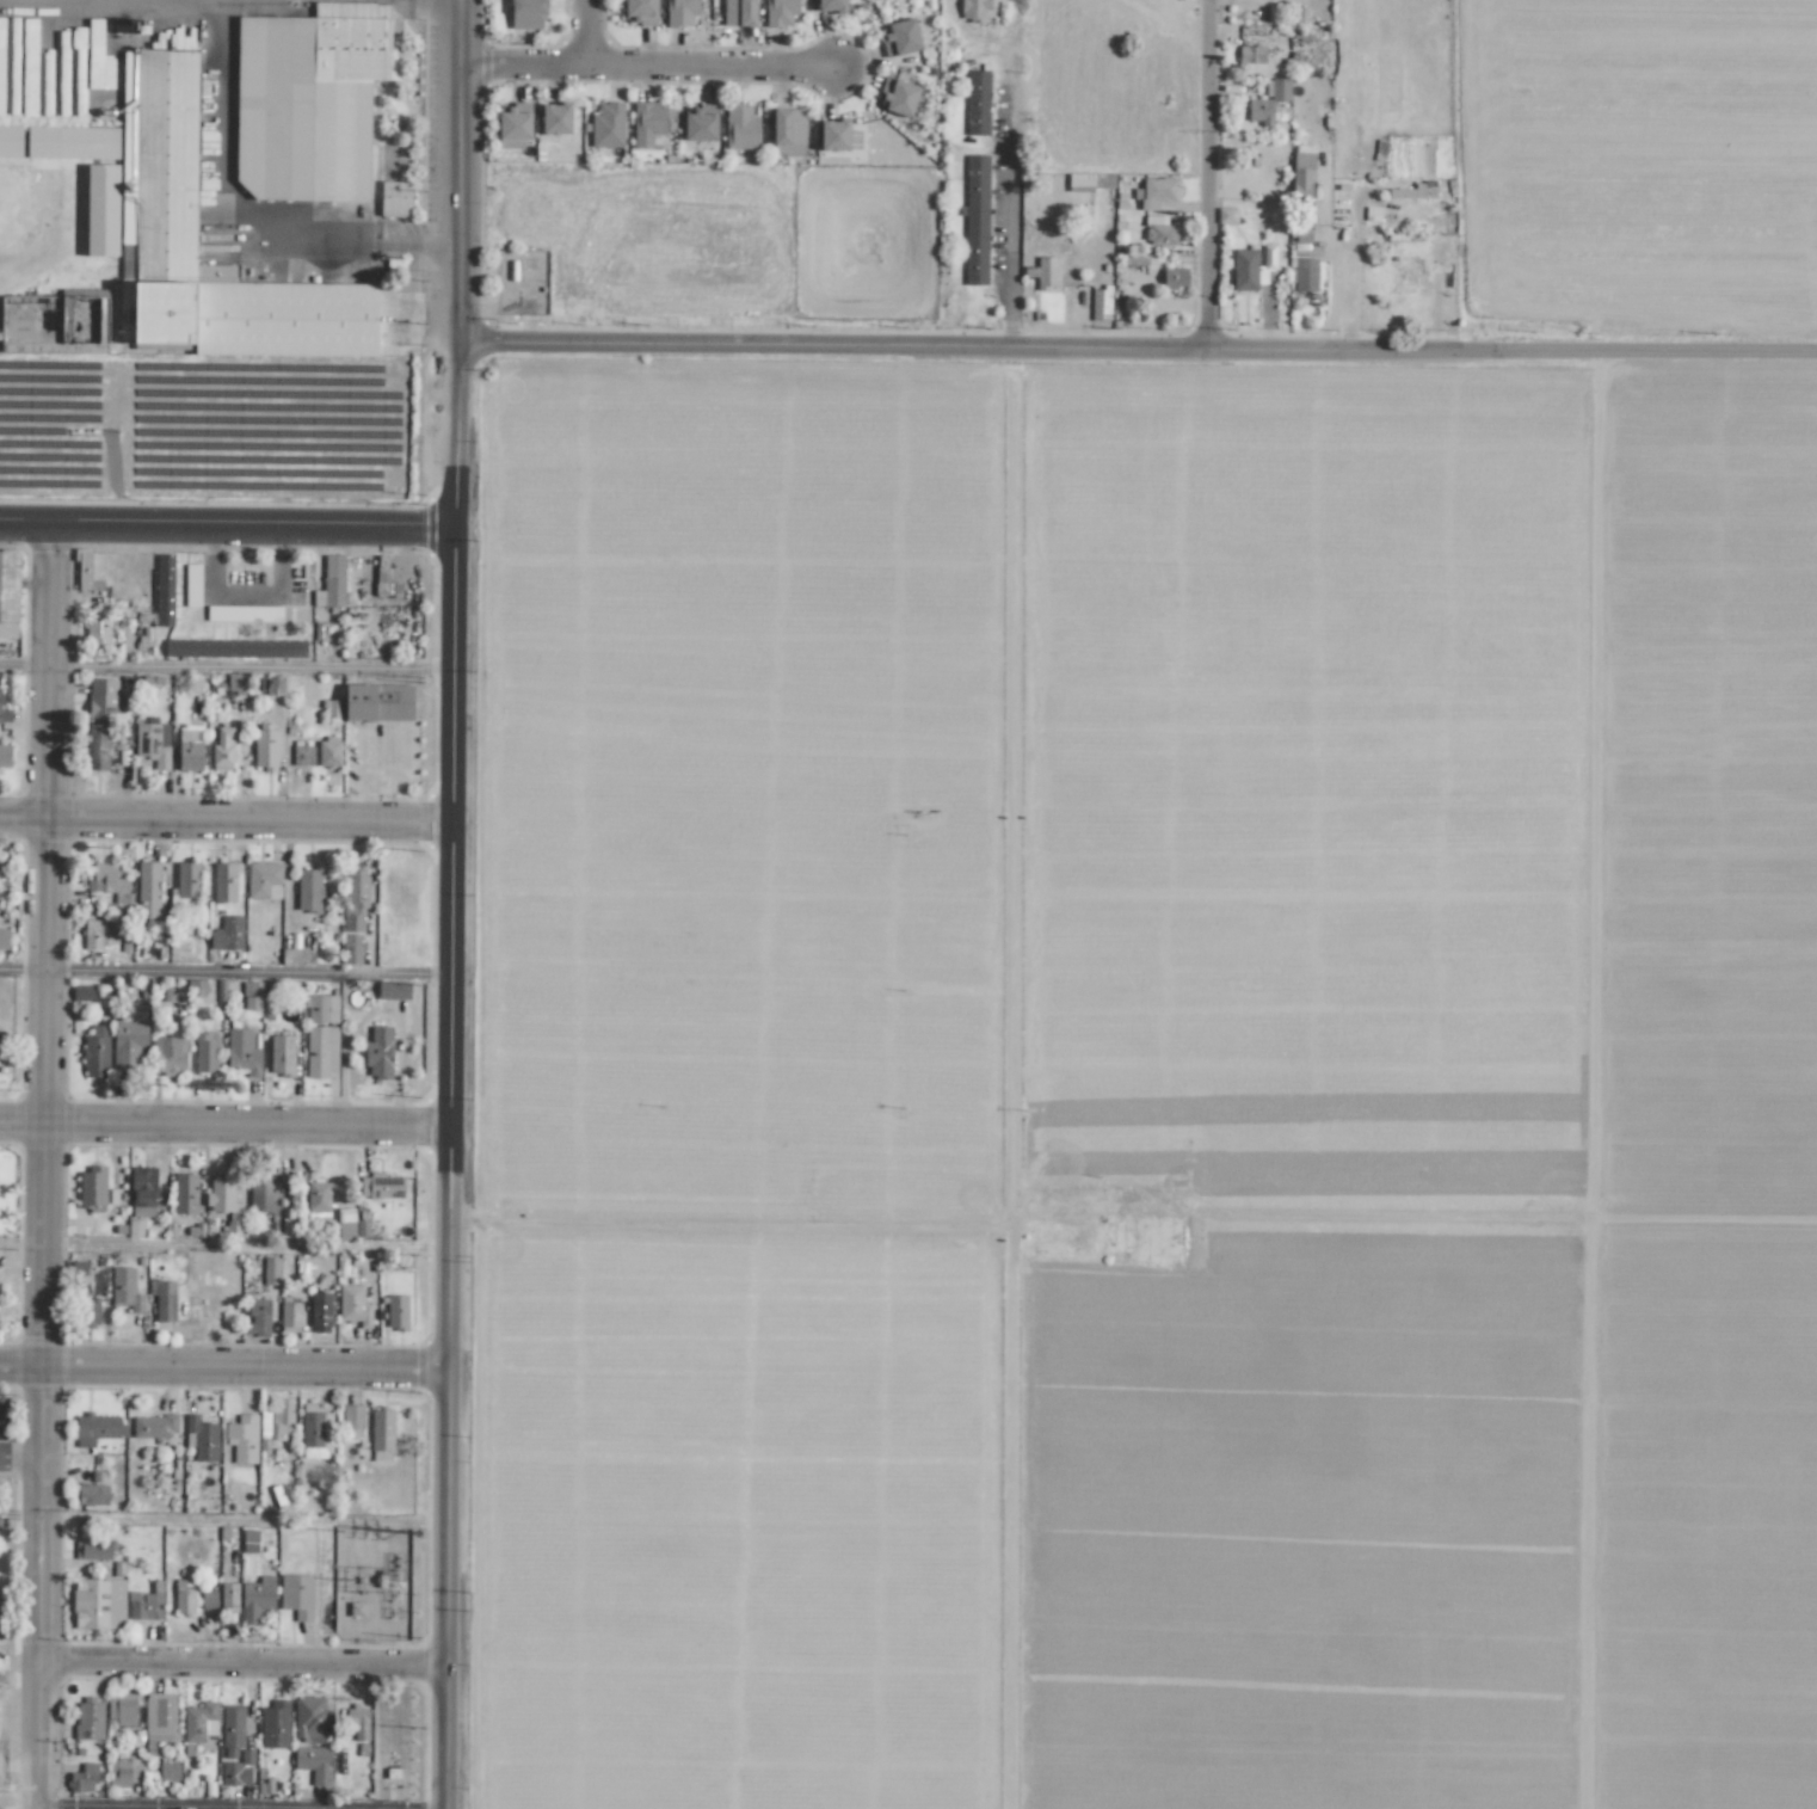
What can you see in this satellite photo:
building: (831, 6)
building: (974, 10)
building: (639, 11)
building: (679, 12)
building: (738, 12)
building: (780, 12)
building: (526, 14)
road: (591, 35)
building: (900, 38)
building: (1251, 54)
building: (36, 66)
road: (645, 70)
building: (0, 78)
building: (1276, 88)
building: (898, 97)
building: (308, 101)
building: (977, 103)
building: (1259, 111)
building: (554, 118)
building: (647, 122)
building: (698, 123)
building: (606, 125)
building: (740, 127)
building: (512, 128)
building: (788, 130)
building: (838, 135)
building: (10, 141)
building: (72, 142)
building: (159, 148)
building: (1301, 176)
road: (223, 177)
road: (1008, 180)
building: (1079, 181)
road: (1214, 184)
building: (1158, 193)
building: (395, 198)
building: (101, 209)
building: (1226, 215)
building: (975, 220)
building: (1158, 232)
building: (1301, 235)
building: (1268, 257)
road: (1342, 258)
building: (1244, 270)
building: (1042, 271)
building: (1302, 275)
building: (1174, 278)
building: (1100, 303)
building: (33, 325)
road: (1139, 365)
road: (228, 521)
building: (85, 571)
building: (331, 583)
building: (192, 585)
building: (386, 585)
building: (164, 590)
building: (8, 593)
road: (244, 595)
building: (244, 613)
building: (98, 630)
building: (234, 648)
road: (26, 664)
road: (257, 666)
building: (275, 684)
building: (103, 699)
building: (377, 702)
building: (4, 712)
building: (153, 743)
building: (97, 746)
building: (190, 747)
building: (265, 747)
building: (222, 749)
building: (328, 752)
building: (302, 755)
building: (5, 756)
road: (229, 819)
building: (187, 880)
building: (264, 880)
building: (109, 882)
building: (224, 882)
building: (148, 890)
building: (308, 890)
road: (458, 904)
building: (227, 934)
building: (97, 935)
building: (4, 939)
road: (229, 973)
building: (393, 990)
building: (82, 992)
building: (172, 995)
building: (321, 1008)
building: (129, 1039)
building: (96, 1052)
building: (205, 1052)
building: (242, 1052)
building: (321, 1052)
building: (378, 1052)
building: (170, 1056)
building: (282, 1056)
road: (226, 1128)
road: (47, 1164)
building: (382, 1186)
building: (92, 1188)
building: (142, 1192)
building: (185, 1193)
building: (264, 1196)
building: (318, 1198)
building: (224, 1205)
building: (345, 1223)
building: (289, 1227)
building: (270, 1270)
building: (125, 1290)
building: (162, 1299)
building: (353, 1305)
building: (87, 1311)
building: (320, 1312)
building: (395, 1312)
building: (290, 1316)
building: (257, 1317)
road: (224, 1374)
building: (351, 1420)
building: (275, 1423)
building: (154, 1426)
building: (97, 1428)
building: (315, 1432)
building: (381, 1435)
building: (242, 1438)
building: (201, 1439)
road: (21, 1464)
building: (92, 1494)
road: (245, 1518)
building: (248, 1540)
building: (93, 1549)
building: (228, 1595)
building: (297, 1595)
building: (208, 1599)
building: (255, 1599)
building: (183, 1600)
building: (98, 1604)
building: (146, 1604)
building: (1, 1613)
road: (241, 1661)
building: (121, 1708)
building: (90, 1718)
building: (310, 1718)
building: (159, 1719)
building: (199, 1722)
building: (357, 1722)
building: (275, 1724)
building: (234, 1748)
building: (314, 1764)
building: (168, 1771)
building: (123, 1772)
building: (84, 1779)
road: (21, 1797)
road: (242, 1807)

